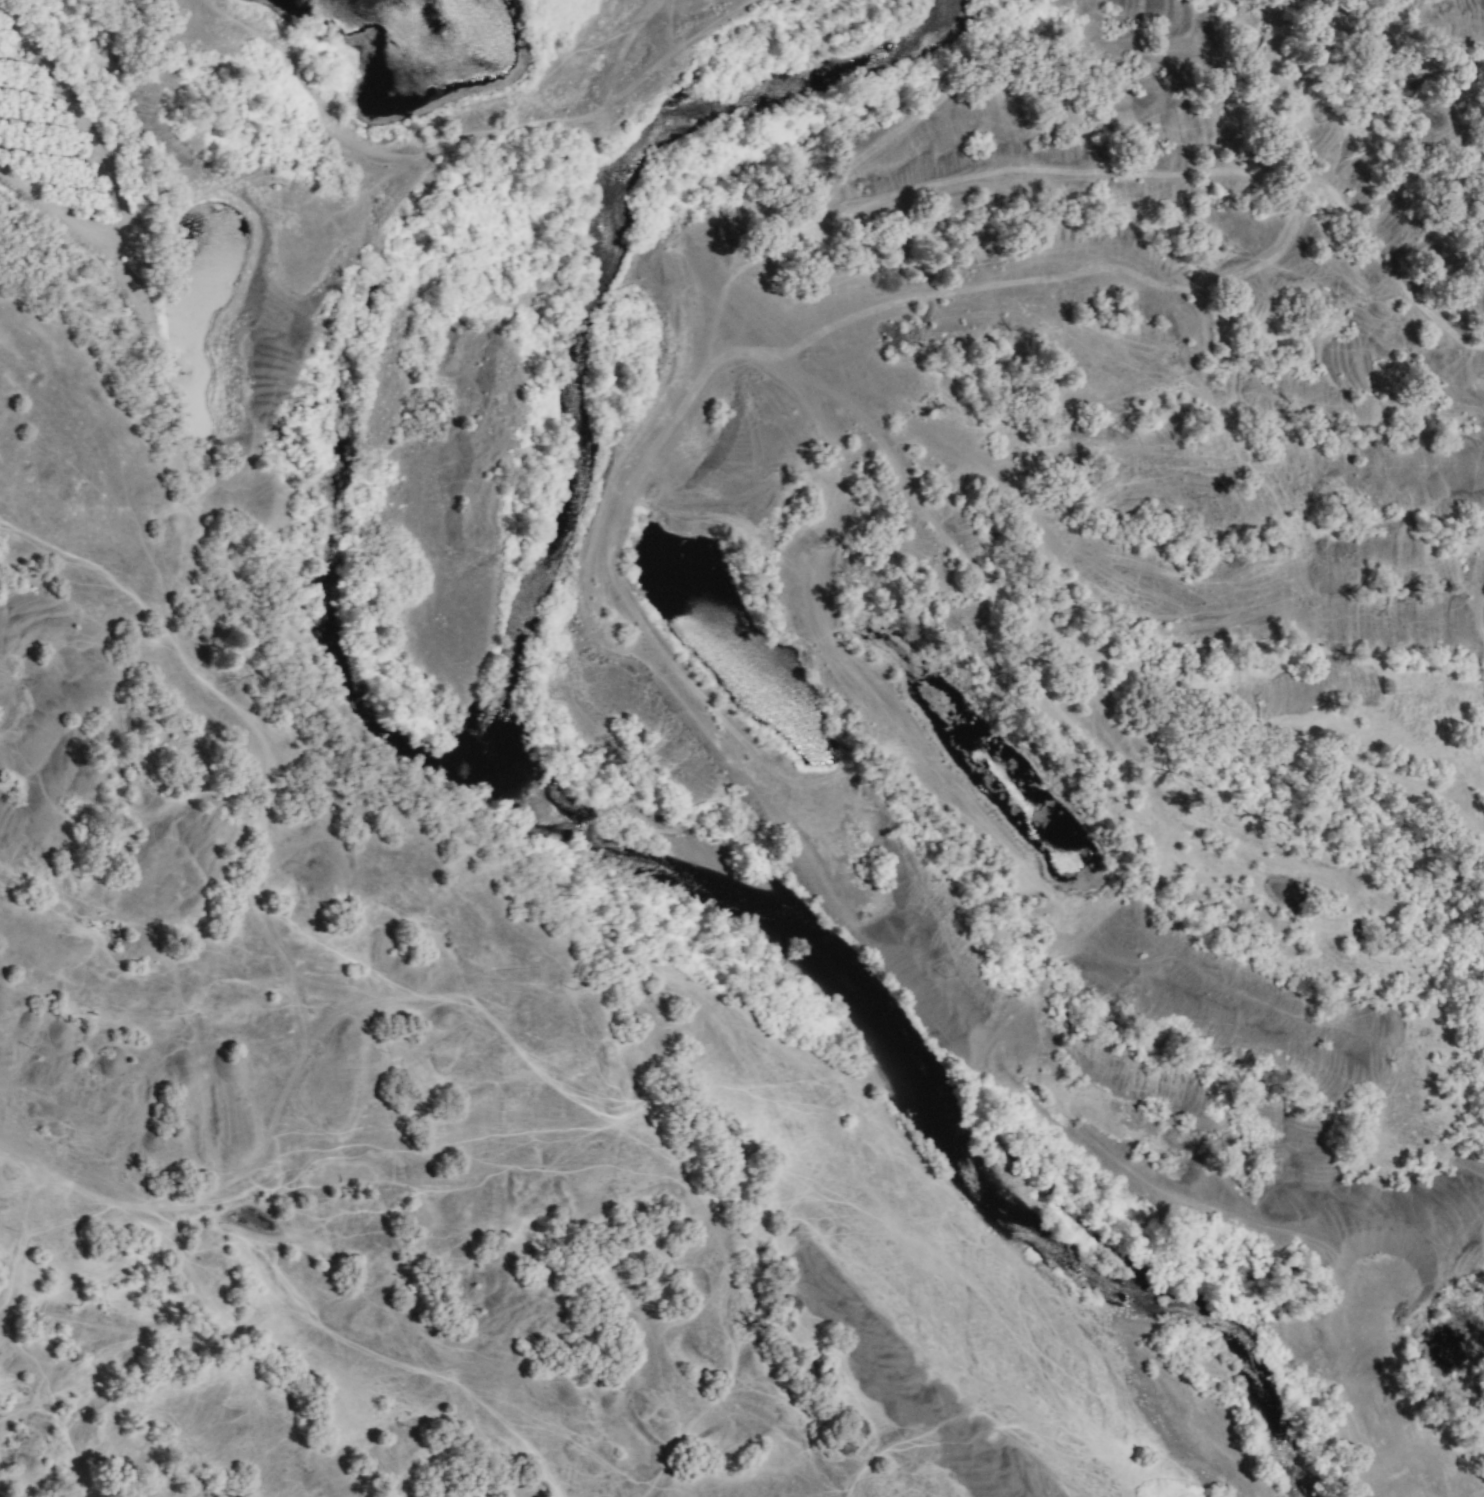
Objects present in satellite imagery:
river: (462, 737)

